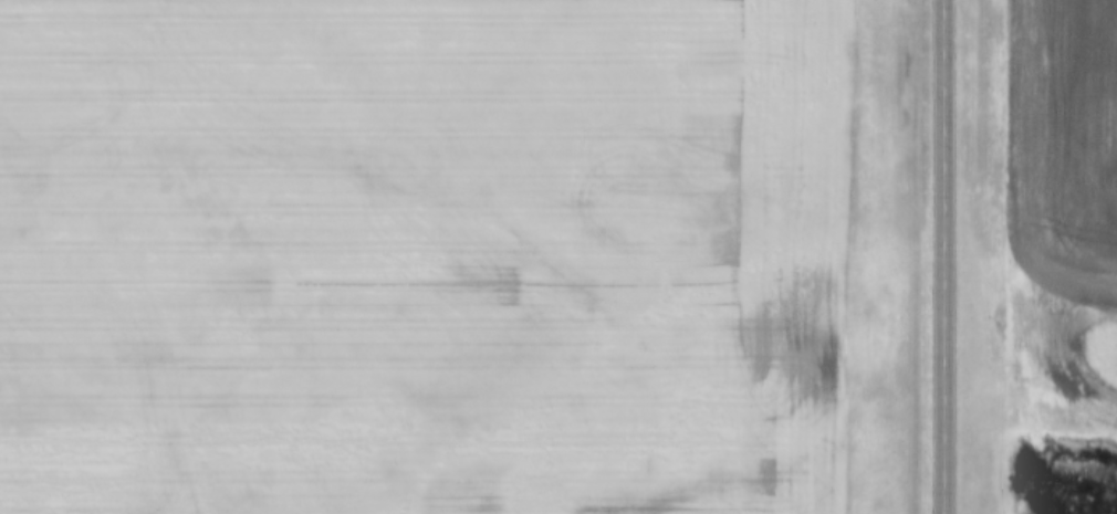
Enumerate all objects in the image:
road: (941, 256)

